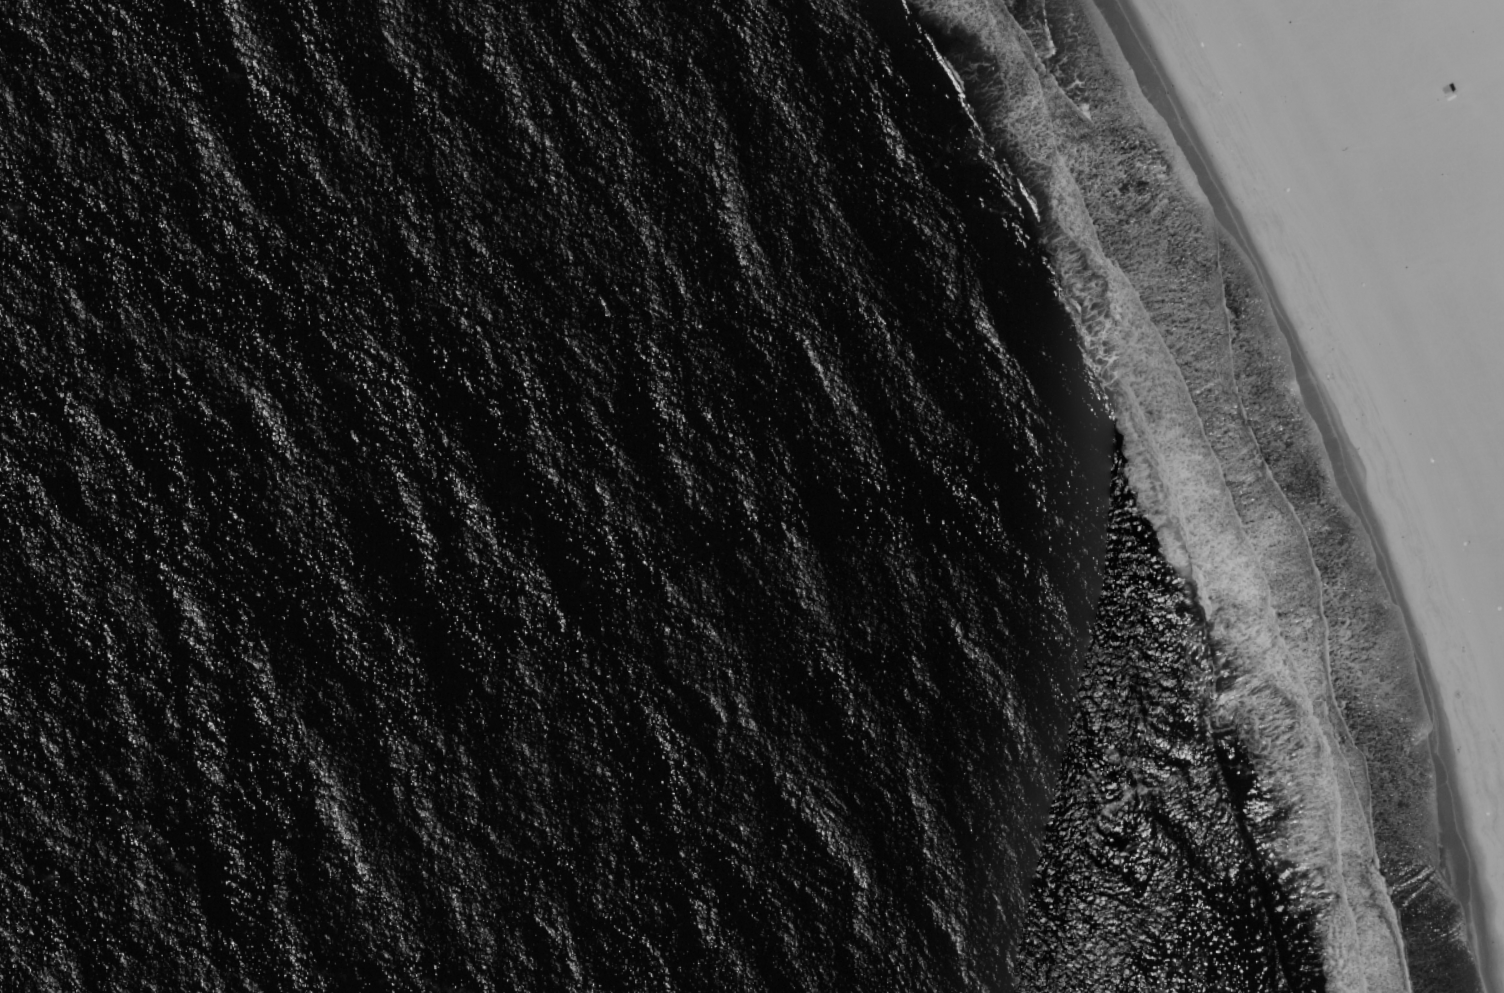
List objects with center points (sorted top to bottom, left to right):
building: (1293, 170)
building: (1500, 710)

